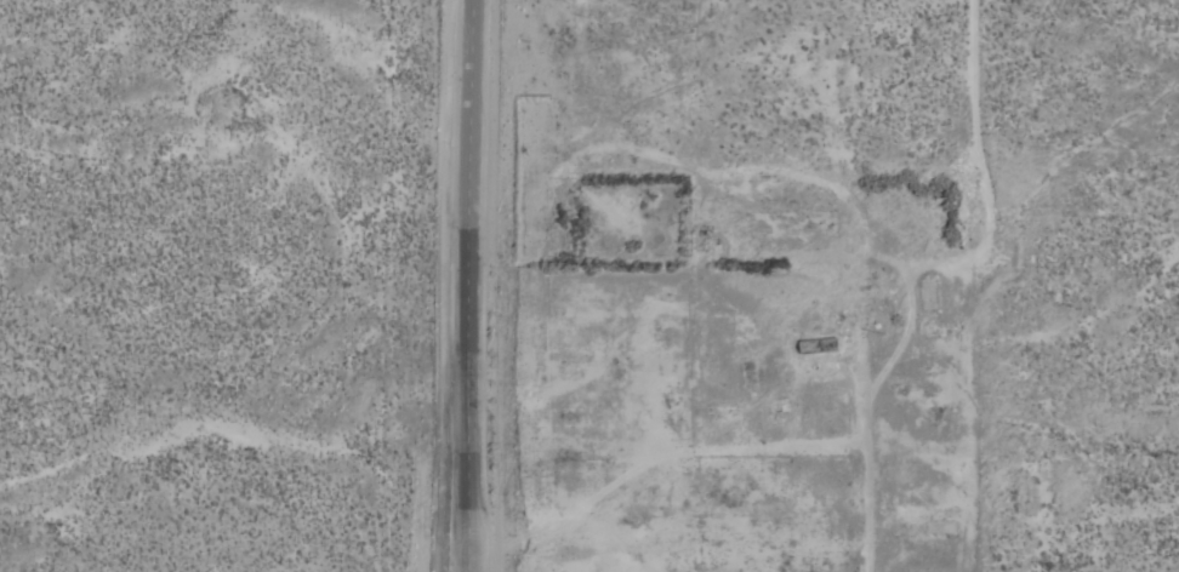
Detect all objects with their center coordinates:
road: (461, 286)

